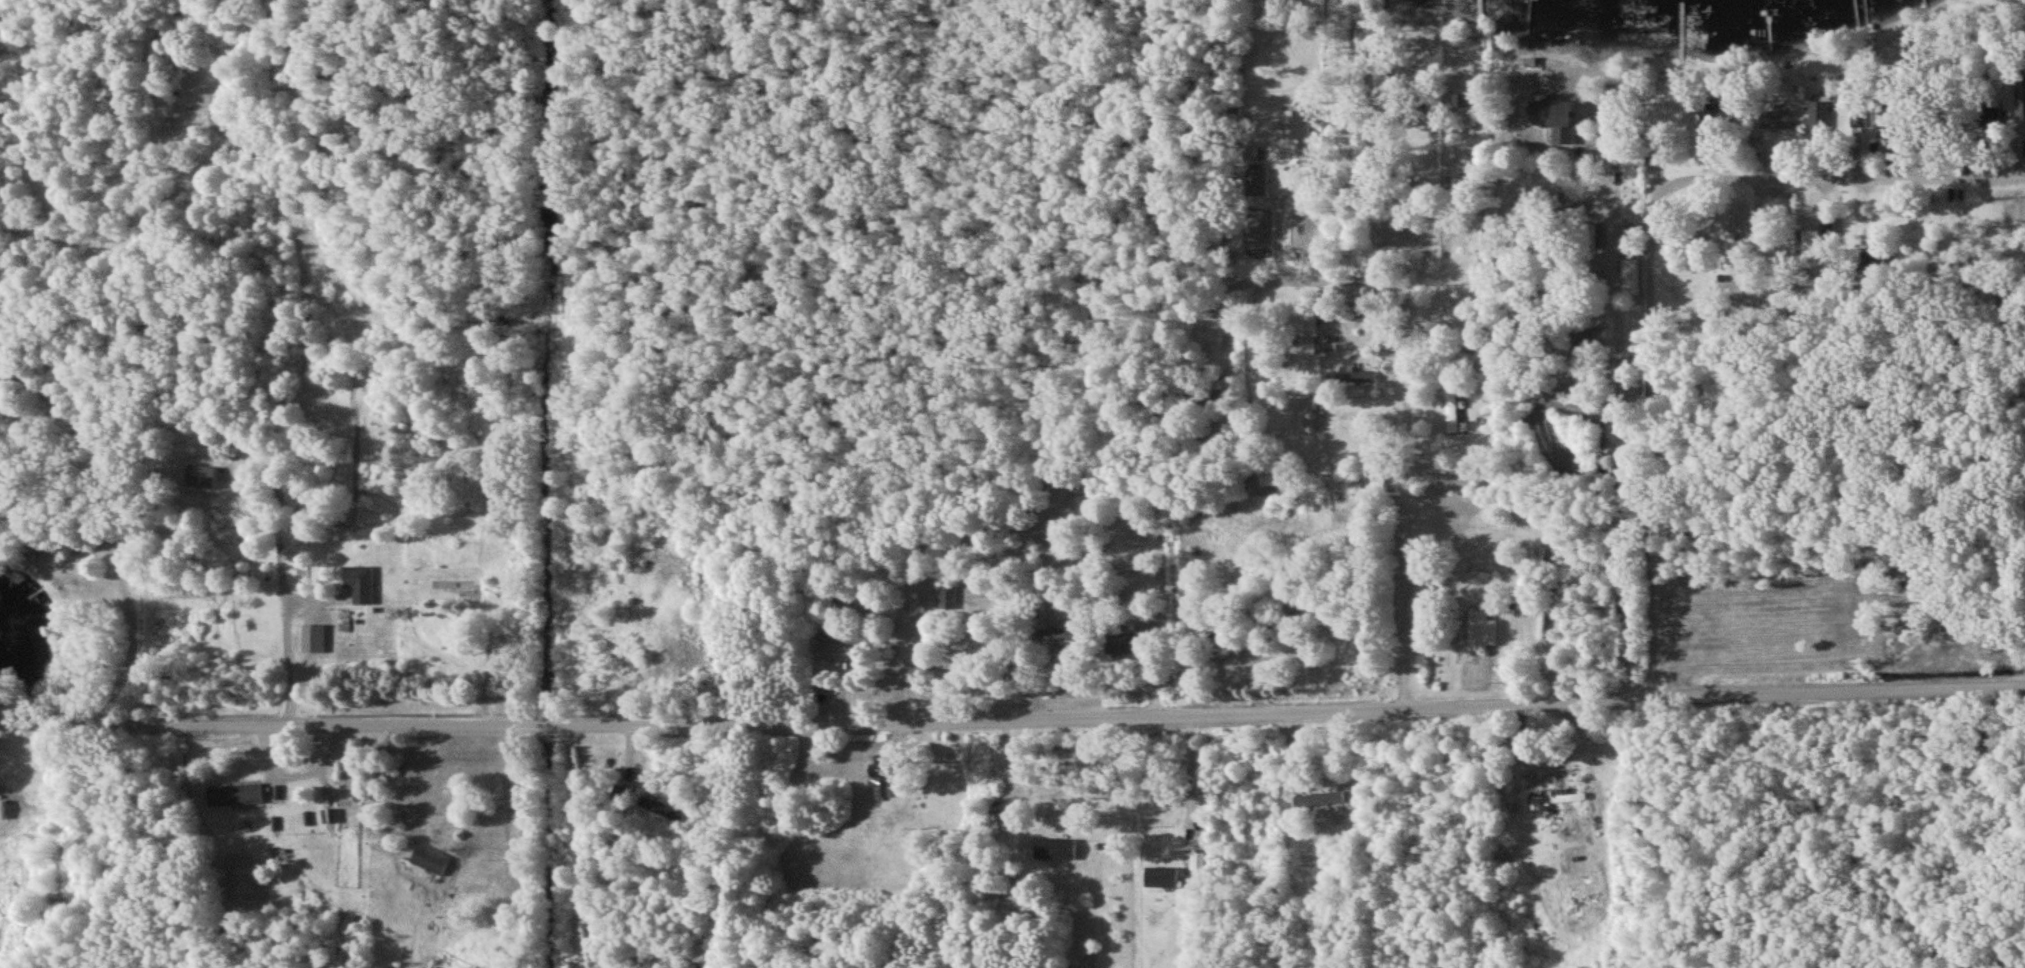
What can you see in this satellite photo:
building: (2022, 93)
building: (1857, 117)
building: (1564, 118)
building: (1778, 118)
building: (1818, 118)
building: (1299, 133)
road: (1841, 175)
building: (1251, 176)
road: (1054, 210)
road: (1278, 225)
building: (1808, 244)
road: (1504, 262)
building: (1630, 270)
road: (1654, 276)
building: (1320, 344)
building: (1358, 376)
building: (1454, 408)
building: (201, 475)
building: (1275, 477)
road: (1653, 529)
road: (1631, 530)
road: (279, 531)
building: (362, 583)
building: (946, 597)
building: (1483, 629)
building: (1059, 633)
building: (315, 637)
road: (292, 644)
road: (485, 660)
road: (1012, 716)
building: (883, 772)
road: (1190, 773)
road: (1000, 775)
road: (428, 778)
building: (236, 794)
building: (1318, 800)
building: (4, 809)
building: (665, 809)
building: (331, 815)
building: (1055, 848)
building: (434, 859)
building: (1196, 860)
building: (1164, 876)

